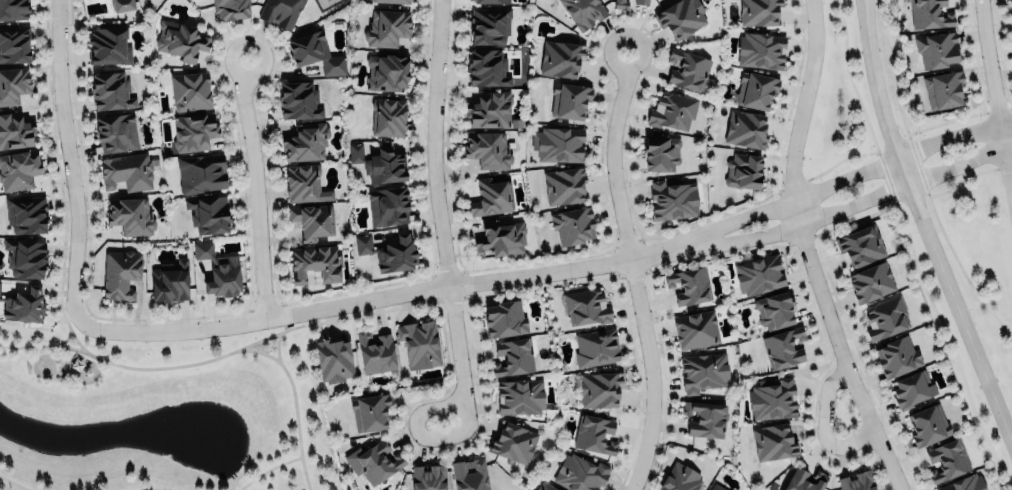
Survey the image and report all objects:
building: (393, 1)
building: (491, 1)
building: (640, 1)
building: (620, 4)
building: (122, 5)
building: (13, 9)
building: (230, 9)
building: (758, 11)
building: (280, 12)
building: (583, 12)
building: (928, 14)
building: (680, 18)
building: (489, 25)
building: (386, 27)
building: (180, 39)
building: (14, 44)
building: (108, 46)
building: (307, 48)
building: (761, 49)
building: (936, 49)
building: (561, 58)
building: (487, 67)
building: (687, 69)
building: (386, 71)
building: (13, 85)
building: (943, 88)
building: (110, 90)
building: (756, 90)
building: (189, 91)
building: (569, 99)
building: (298, 100)
road: (994, 102)
building: (491, 110)
building: (672, 110)
building: (388, 116)
building: (745, 129)
building: (14, 130)
building: (193, 131)
building: (116, 133)
building: (305, 141)
building: (558, 143)
building: (487, 149)
building: (660, 153)
road: (68, 160)
building: (379, 163)
building: (17, 170)
building: (126, 171)
building: (743, 171)
building: (201, 173)
road: (844, 176)
building: (304, 183)
building: (563, 185)
road: (254, 187)
building: (491, 196)
building: (672, 200)
road: (435, 202)
building: (387, 206)
road: (849, 206)
building: (208, 213)
building: (26, 214)
building: (130, 215)
building: (311, 220)
building: (572, 226)
road: (923, 226)
building: (500, 238)
building: (860, 245)
road: (808, 251)
building: (388, 252)
building: (25, 258)
building: (315, 263)
building: (218, 269)
road: (632, 269)
building: (119, 273)
building: (758, 274)
building: (169, 281)
building: (0, 282)
building: (870, 282)
building: (688, 285)
road: (379, 297)
building: (23, 305)
building: (585, 307)
building: (774, 309)
building: (884, 318)
building: (504, 319)
road: (70, 329)
building: (695, 329)
road: (275, 333)
road: (66, 338)
building: (419, 344)
road: (277, 346)
building: (595, 347)
building: (782, 347)
building: (375, 352)
building: (512, 357)
building: (897, 357)
road: (206, 360)
building: (333, 360)
building: (703, 371)
building: (598, 389)
building: (912, 389)
building: (519, 396)
building: (772, 399)
building: (369, 412)
park: (158, 413)
building: (704, 418)
road: (824, 425)
building: (927, 425)
building: (594, 434)
road: (418, 437)
building: (773, 442)
building: (513, 443)
building: (946, 460)
building: (373, 462)
road: (267, 469)
building: (579, 473)
building: (469, 474)
building: (428, 477)
building: (679, 478)
building: (804, 480)
building: (855, 481)
road: (14, 482)
building: (963, 483)
building: (546, 486)
building: (716, 487)
road: (152, 489)

